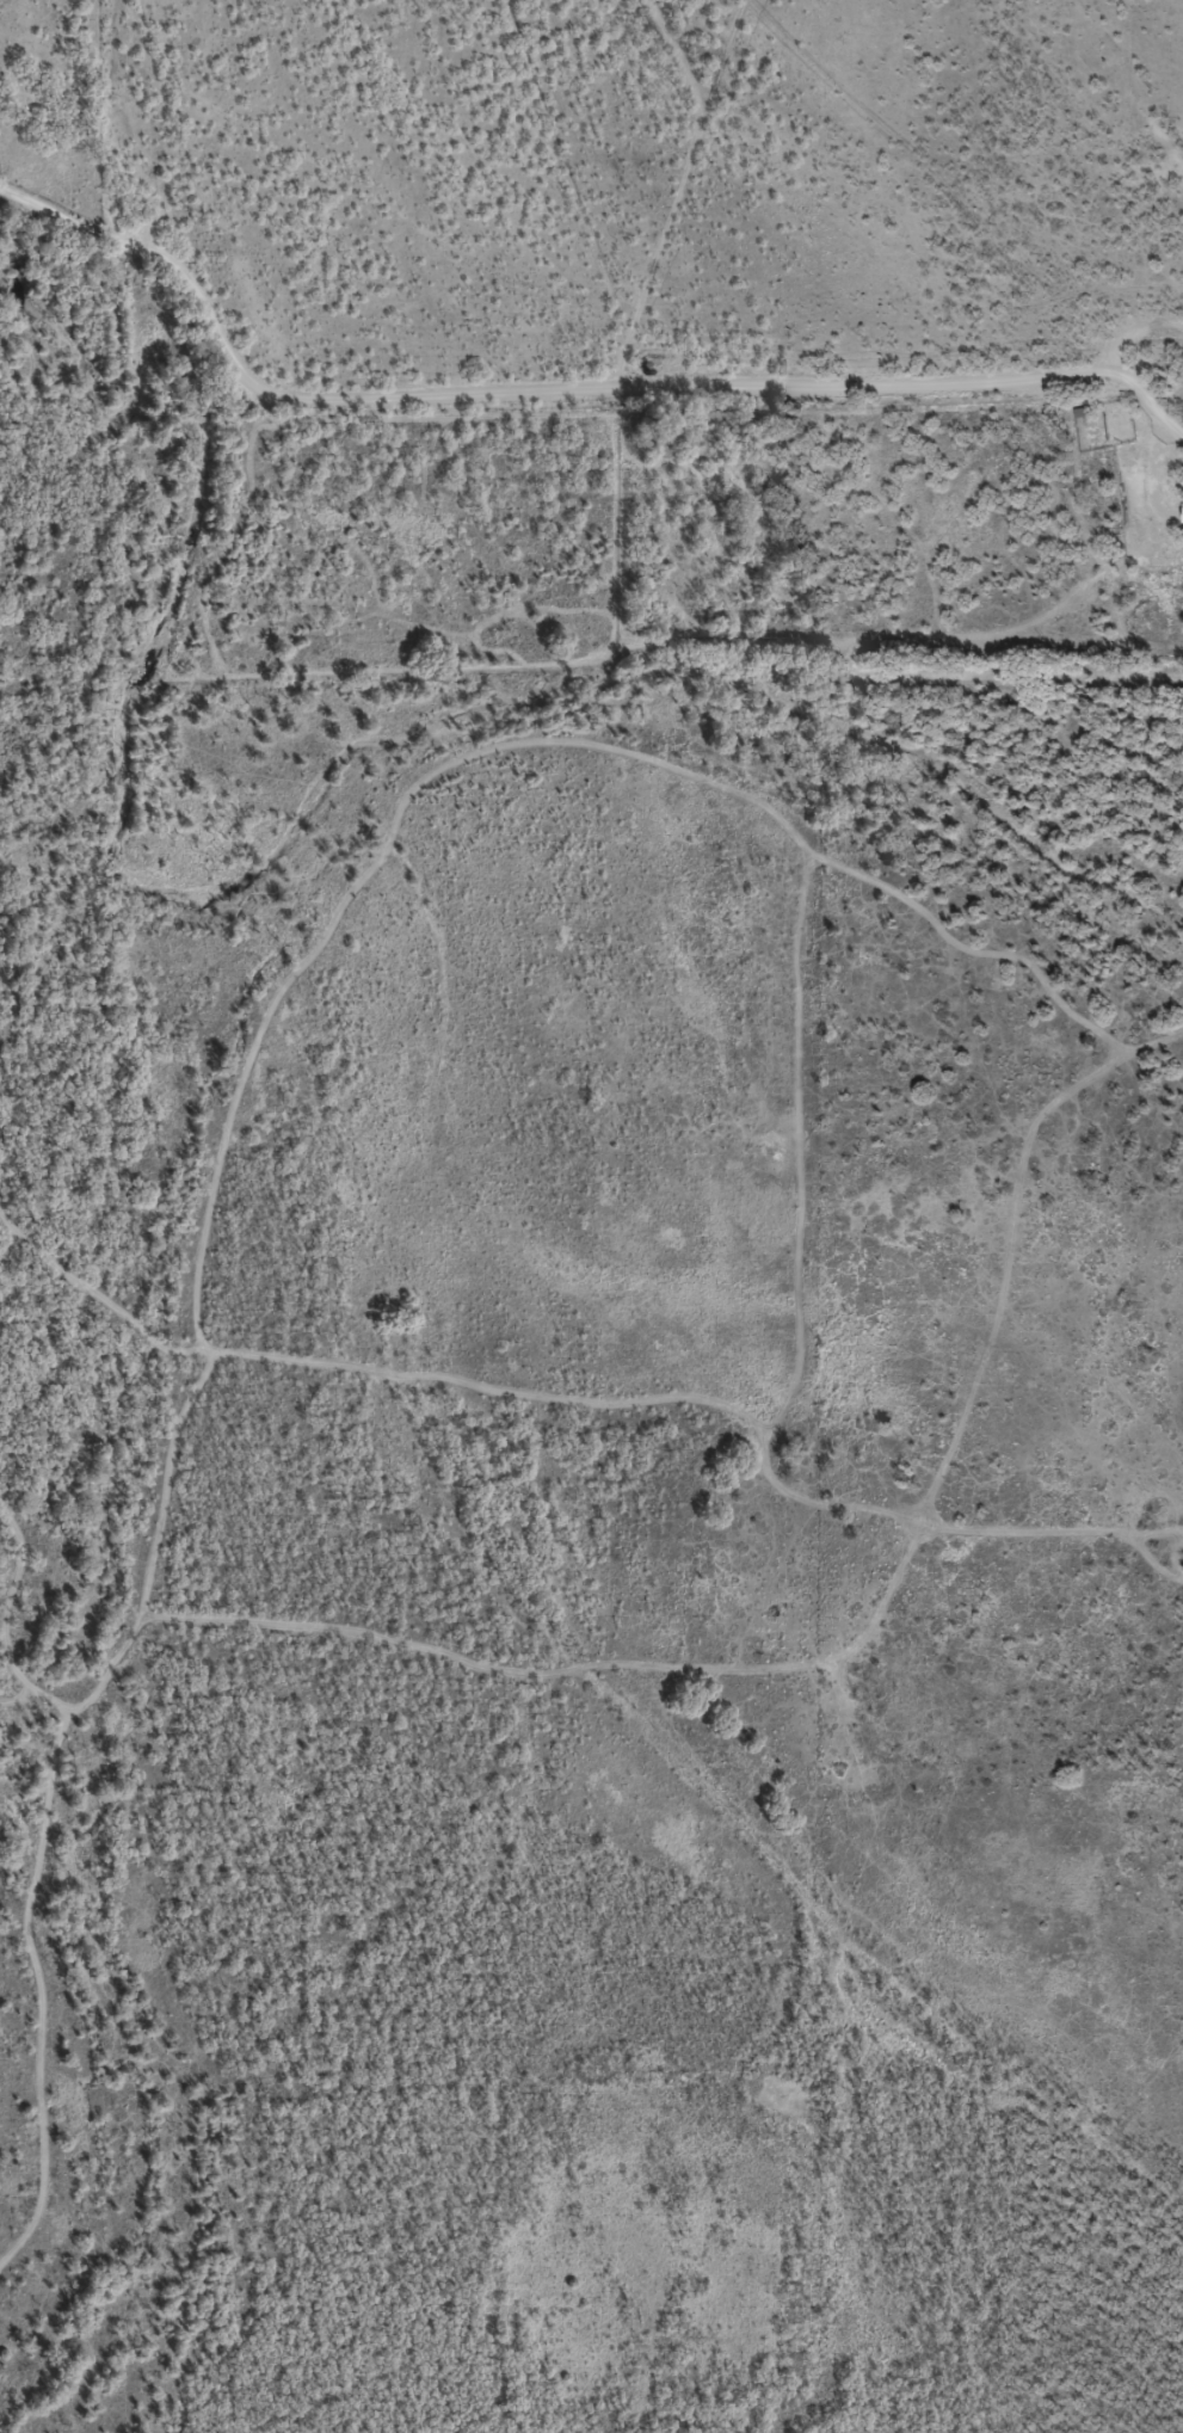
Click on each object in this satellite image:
road: (568, 412)

